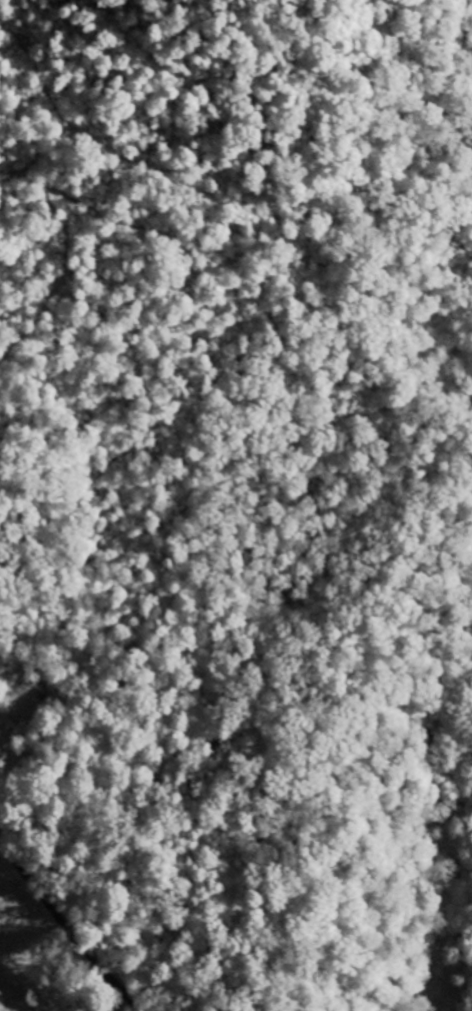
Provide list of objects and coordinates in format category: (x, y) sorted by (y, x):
road: (66, 931)

